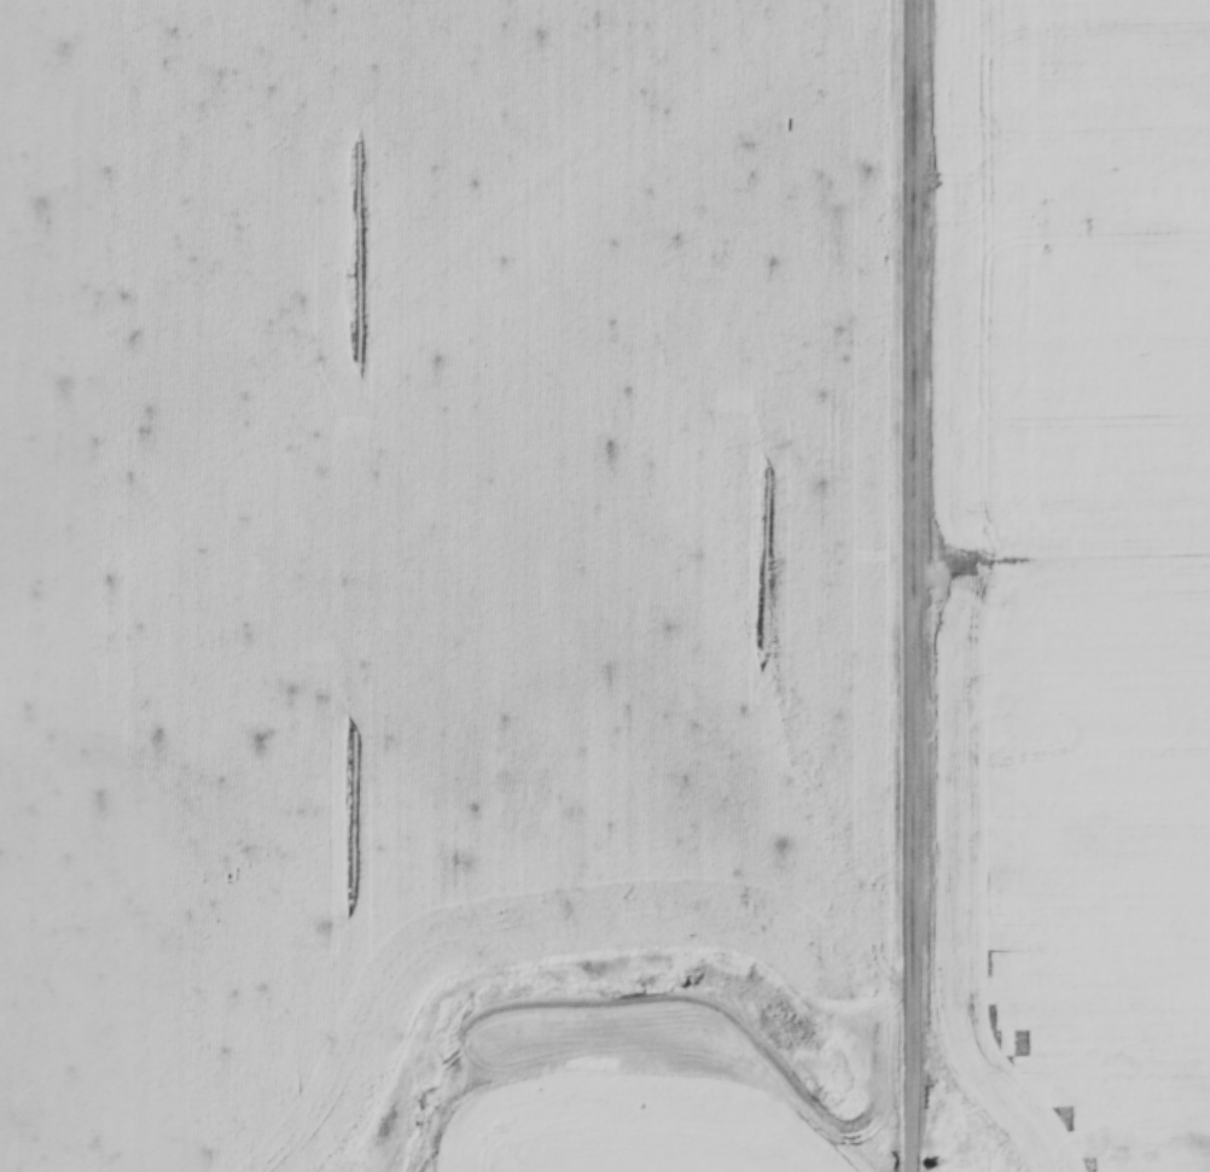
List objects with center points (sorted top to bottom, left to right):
road: (921, 585)

